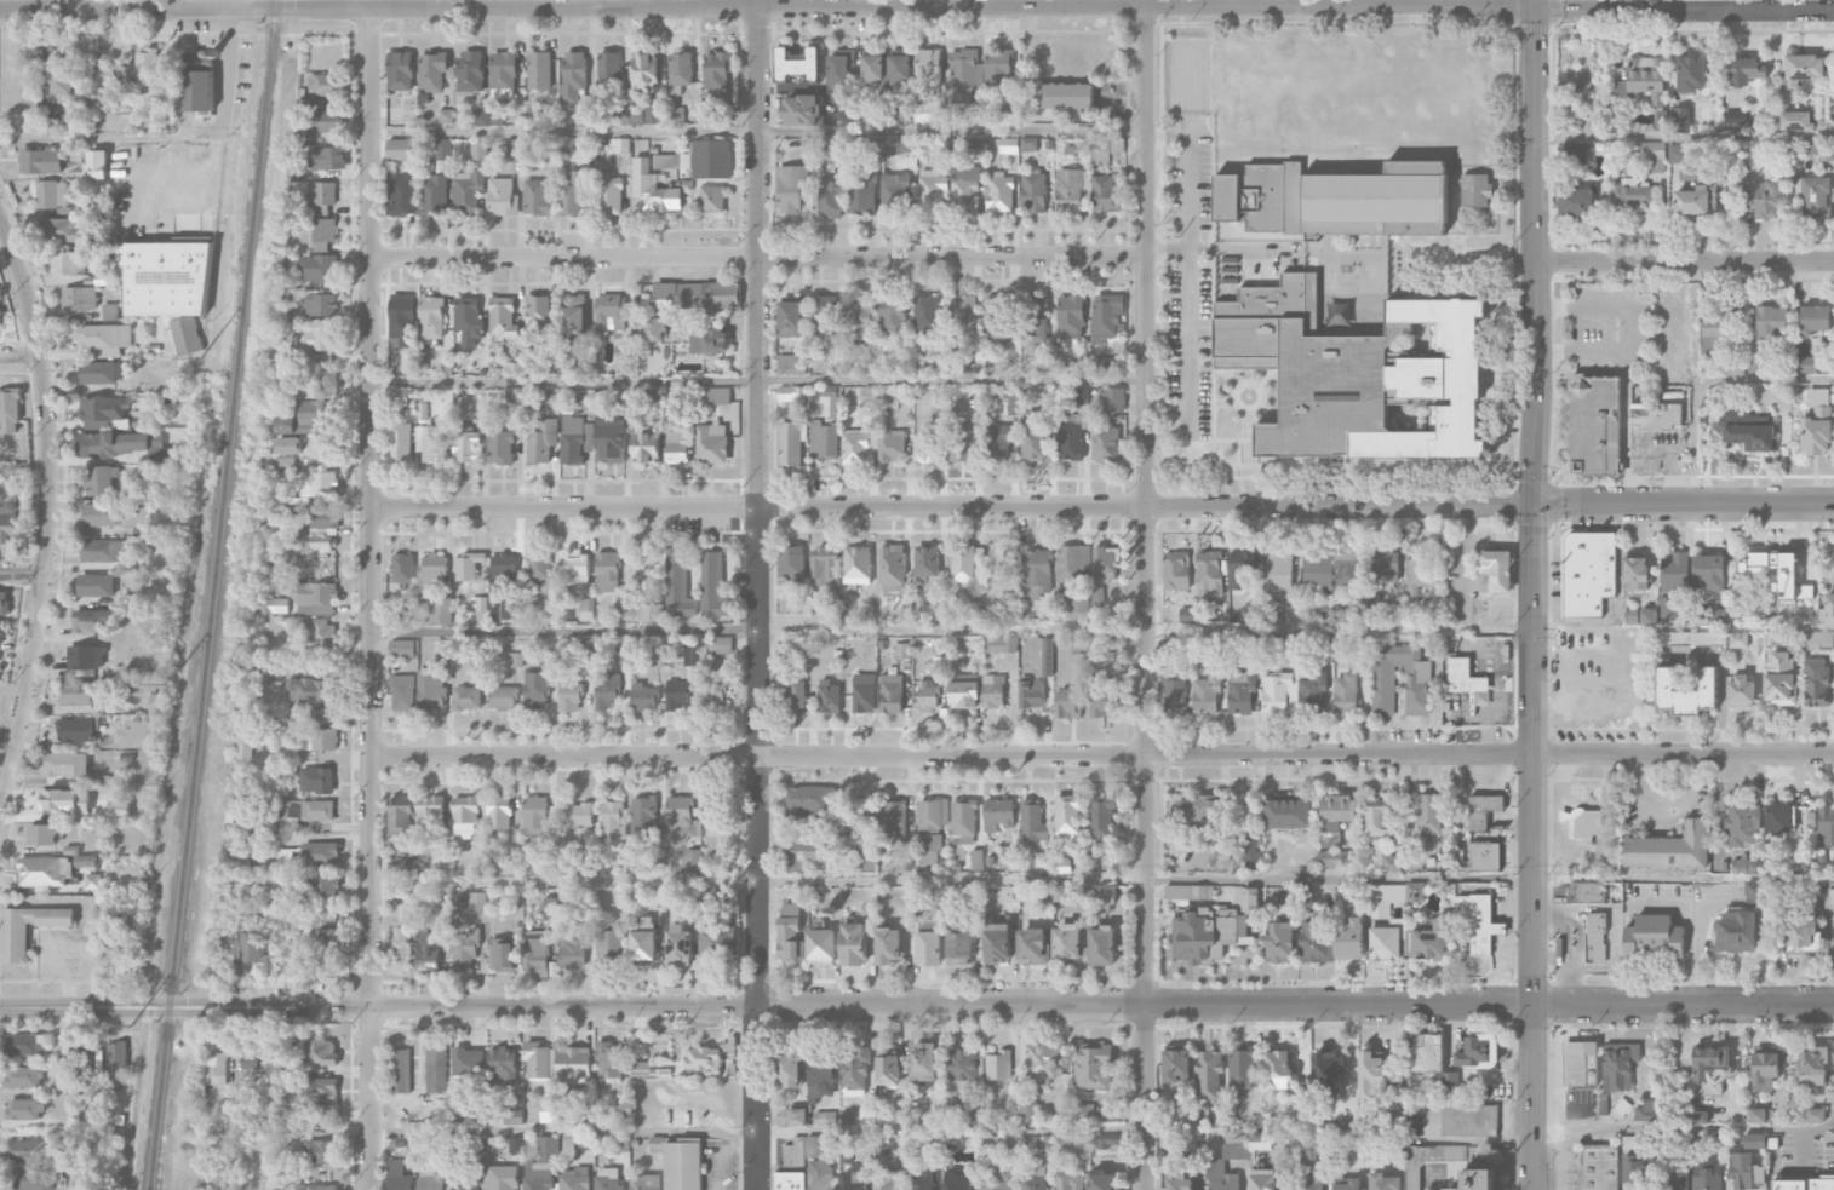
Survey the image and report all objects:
road: (1434, 4)
road: (323, 5)
road: (916, 10)
building: (797, 63)
building: (145, 65)
building: (609, 68)
building: (839, 68)
building: (928, 68)
building: (871, 69)
building: (899, 69)
building: (998, 69)
building: (1803, 69)
building: (400, 70)
building: (539, 70)
building: (644, 70)
building: (1747, 70)
building: (432, 71)
building: (680, 71)
building: (469, 73)
road: (225, 74)
building: (503, 74)
building: (717, 74)
building: (1693, 74)
building: (962, 76)
building: (574, 77)
building: (59, 79)
building: (1641, 80)
building: (196, 81)
building: (325, 85)
road: (814, 88)
building: (1066, 96)
building: (138, 110)
building: (801, 110)
building: (1009, 113)
building: (646, 114)
building: (620, 115)
building: (481, 117)
building: (870, 117)
building: (1680, 120)
building: (1795, 120)
building: (46, 121)
building: (327, 121)
road: (757, 132)
road: (108, 138)
road: (1683, 138)
building: (890, 144)
building: (1028, 144)
building: (1008, 145)
building: (514, 146)
building: (566, 146)
building: (1105, 148)
building: (400, 149)
building: (443, 149)
building: (975, 149)
building: (478, 150)
building: (1829, 151)
building: (1575, 154)
building: (1651, 154)
building: (1678, 154)
building: (327, 159)
building: (41, 160)
building: (700, 160)
building: (96, 163)
road: (155, 163)
building: (791, 188)
building: (653, 189)
building: (932, 189)
building: (468, 190)
building: (964, 190)
building: (1068, 190)
building: (1474, 190)
building: (1102, 191)
building: (895, 192)
building: (998, 192)
building: (1033, 192)
building: (434, 194)
building: (573, 194)
building: (862, 194)
building: (53, 195)
building: (403, 195)
building: (612, 195)
building: (1630, 195)
building: (322, 197)
building: (502, 197)
building: (538, 197)
building: (830, 197)
building: (712, 199)
building: (1815, 199)
building: (1336, 200)
building: (1763, 200)
building: (1691, 201)
building: (1576, 202)
building: (323, 232)
road: (1168, 249)
road: (757, 255)
building: (68, 263)
road: (1685, 265)
building: (317, 268)
building: (165, 277)
road: (1190, 286)
building: (694, 295)
building: (79, 298)
building: (0, 299)
building: (321, 305)
building: (611, 311)
building: (537, 312)
building: (995, 312)
building: (573, 314)
building: (860, 315)
building: (963, 315)
building: (826, 316)
building: (893, 316)
building: (431, 317)
building: (1070, 317)
building: (1106, 317)
building: (402, 318)
building: (468, 318)
building: (503, 318)
building: (790, 318)
building: (927, 318)
building: (1035, 318)
building: (1813, 320)
building: (1771, 321)
building: (654, 328)
building: (1716, 330)
building: (185, 335)
building: (709, 338)
building: (103, 339)
building: (316, 339)
road: (1580, 349)
power tower: (200, 356)
road: (19, 358)
road: (1624, 362)
building: (791, 363)
building: (1105, 364)
building: (1805, 364)
building: (514, 367)
building: (101, 372)
building: (1359, 374)
road: (757, 378)
road: (1707, 381)
building: (791, 393)
building: (510, 395)
building: (716, 395)
building: (400, 396)
building: (653, 396)
building: (1079, 396)
building: (1112, 399)
road: (1168, 406)
building: (8, 412)
building: (1656, 415)
building: (313, 416)
building: (285, 424)
building: (1816, 424)
building: (1595, 425)
building: (1748, 432)
building: (1035, 436)
building: (1070, 437)
building: (574, 438)
building: (609, 439)
building: (824, 439)
building: (541, 441)
building: (964, 442)
building: (400, 443)
building: (429, 443)
building: (712, 443)
building: (790, 443)
building: (997, 443)
building: (1105, 443)
building: (127, 445)
building: (288, 445)
building: (466, 445)
building: (644, 445)
building: (859, 445)
building: (890, 445)
building: (321, 447)
building: (500, 447)
building: (677, 447)
building: (924, 447)
building: (285, 462)
building: (11, 468)
building: (101, 481)
building: (319, 482)
road: (46, 505)
road: (1101, 506)
building: (102, 514)
building: (321, 518)
building: (8, 534)
building: (313, 542)
building: (104, 550)
building: (927, 560)
building: (1105, 563)
building: (792, 564)
building: (466, 565)
building: (824, 565)
building: (856, 565)
building: (538, 567)
building: (965, 567)
building: (1388, 567)
building: (403, 568)
building: (892, 568)
building: (1348, 568)
building: (432, 569)
building: (1240, 569)
building: (1175, 570)
building: (1317, 570)
building: (607, 571)
building: (1279, 571)
building: (1495, 571)
building: (1674, 571)
building: (1709, 571)
road: (21, 573)
building: (1036, 573)
building: (1209, 573)
building: (1417, 573)
building: (1588, 573)
building: (1775, 573)
building: (575, 574)
building: (1635, 574)
building: (1071, 580)
building: (96, 585)
building: (678, 586)
building: (713, 586)
railway: (211, 594)
road: (756, 594)
road: (1146, 594)
road: (1535, 594)
building: (302, 599)
building: (4, 600)
road: (369, 600)
building: (624, 600)
building: (477, 604)
building: (510, 608)
building: (585, 609)
building: (1828, 609)
building: (440, 610)
building: (1666, 610)
building: (652, 611)
building: (1187, 615)
building: (1647, 616)
building: (1713, 616)
building: (91, 621)
building: (130, 623)
road: (1101, 631)
building: (1, 632)
building: (321, 634)
building: (1689, 638)
building: (1737, 639)
building: (720, 644)
building: (1001, 644)
building: (1175, 644)
building: (401, 648)
building: (901, 651)
building: (689, 654)
building: (86, 656)
building: (621, 656)
building: (1047, 656)
building: (443, 659)
building: (514, 659)
building: (548, 659)
building: (654, 659)
building: (0, 668)
building: (1463, 677)
building: (1779, 678)
power tower: (165, 683)
building: (1816, 683)
building: (715, 686)
road: (12, 689)
building: (430, 689)
building: (535, 689)
building: (309, 690)
building: (964, 690)
building: (993, 691)
building: (1382, 691)
building: (1742, 691)
building: (81, 692)
building: (402, 692)
building: (604, 692)
building: (864, 692)
building: (892, 692)
building: (1175, 692)
building: (1240, 692)
building: (1277, 692)
building: (1685, 692)
building: (1031, 694)
building: (1205, 694)
building: (1312, 694)
building: (677, 695)
building: (925, 695)
building: (1346, 695)
building: (569, 696)
building: (643, 696)
building: (795, 696)
building: (829, 696)
building: (502, 697)
building: (466, 699)
building: (1105, 701)
building: (156, 703)
building: (76, 730)
building: (319, 738)
building: (243, 747)
road: (1101, 755)
building: (65, 765)
building: (316, 780)
building: (808, 799)
building: (64, 800)
building: (118, 807)
building: (430, 809)
building: (1481, 810)
building: (304, 812)
building: (499, 812)
building: (1428, 812)
building: (997, 814)
building: (1289, 814)
building: (400, 815)
building: (537, 815)
building: (579, 815)
building: (643, 815)
building: (681, 815)
building: (465, 816)
building: (1101, 817)
building: (1203, 817)
building: (1335, 817)
building: (1376, 817)
building: (1066, 818)
building: (1777, 818)
building: (613, 821)
building: (894, 822)
building: (963, 822)
building: (1583, 822)
building: (1741, 823)
building: (1826, 824)
building: (1033, 826)
building: (234, 827)
building: (930, 829)
building: (41, 834)
building: (1672, 847)
building: (806, 852)
building: (320, 853)
building: (440, 855)
building: (1250, 855)
building: (1484, 856)
building: (1833, 857)
building: (862, 858)
building: (1334, 858)
building: (84, 861)
building: (689, 862)
building: (407, 863)
building: (1393, 863)
building: (1744, 867)
building: (1061, 868)
building: (45, 872)
road: (1101, 878)
building: (92, 881)
building: (325, 884)
building: (1414, 891)
building: (1755, 891)
building: (1586, 892)
building: (1183, 893)
building: (1283, 893)
building: (1061, 895)
building: (1105, 895)
building: (1250, 899)
building: (476, 902)
building: (1383, 902)
building: (550, 909)
building: (1477, 922)
building: (1803, 930)
building: (1736, 931)
building: (789, 933)
building: (1208, 933)
building: (1595, 937)
building: (1654, 937)
building: (1316, 938)
building: (1349, 939)
building: (643, 941)
building: (717, 941)
building: (1067, 941)
building: (1432, 941)
building: (1279, 942)
building: (928, 943)
building: (997, 943)
building: (1385, 943)
building: (15, 944)
building: (611, 944)
building: (854, 944)
building: (680, 945)
building: (821, 945)
building: (888, 945)
building: (1032, 945)
building: (251, 947)
building: (959, 947)
building: (1102, 947)
building: (399, 949)
building: (572, 949)
building: (329, 950)
building: (535, 950)
building: (465, 952)
building: (428, 953)
building: (502, 954)
road: (917, 1005)
power tower: (127, 1025)
building: (25, 1045)
building: (62, 1045)
building: (1479, 1051)
building: (320, 1052)
building: (1427, 1052)
building: (704, 1059)
building: (1044, 1059)
building: (116, 1060)
building: (537, 1060)
building: (468, 1062)
building: (924, 1062)
building: (608, 1063)
building: (1580, 1063)
building: (253, 1064)
building: (503, 1064)
building: (573, 1064)
building: (1175, 1064)
building: (998, 1065)
building: (1620, 1065)
building: (1813, 1065)
building: (963, 1067)
building: (1093, 1067)
building: (652, 1068)
building: (790, 1068)
building: (888, 1068)
building: (1765, 1068)
building: (216, 1069)
building: (1240, 1069)
building: (1277, 1069)
building: (1712, 1069)
building: (82, 1070)
building: (401, 1070)
building: (436, 1070)
building: (854, 1070)
building: (1209, 1074)
building: (1326, 1075)
building: (1370, 1075)
building: (820, 1076)
building: (24, 1077)
building: (1450, 1085)
building: (322, 1092)
building: (24, 1109)
building: (548, 1110)
building: (1027, 1111)
building: (1645, 1111)
building: (1083, 1114)
building: (1758, 1115)
building: (1815, 1115)
building: (512, 1116)
building: (793, 1116)
building: (858, 1116)
building: (1467, 1116)
building: (1698, 1116)
building: (583, 1117)
road: (1684, 1127)
road: (756, 1131)
building: (1234, 1136)
building: (1108, 1140)
building: (1754, 1140)
building: (584, 1143)
building: (1074, 1143)
building: (820, 1145)
building: (31, 1151)
building: (321, 1151)
road: (718, 1151)
building: (1233, 1151)
building: (795, 1155)
building: (1428, 1160)
building: (543, 1165)
building: (683, 1166)
building: (1598, 1167)
building: (1637, 1172)
building: (1747, 1172)
building: (1677, 1174)
building: (1707, 1174)
building: (397, 1175)
building: (1220, 1175)
building: (808, 1177)
building: (1032, 1177)
building: (997, 1178)
building: (34, 1179)
building: (431, 1179)
building: (502, 1179)
building: (574, 1179)
building: (608, 1179)
building: (889, 1179)
building: (1262, 1179)
building: (853, 1180)
building: (1068, 1180)
building: (1478, 1180)
building: (644, 1182)
building: (958, 1182)
building: (1104, 1182)
building: (1179, 1182)
building: (1383, 1182)
building: (922, 1183)
building: (1803, 1184)
building: (466, 1185)
building: (1349, 1185)
building: (315, 1186)

